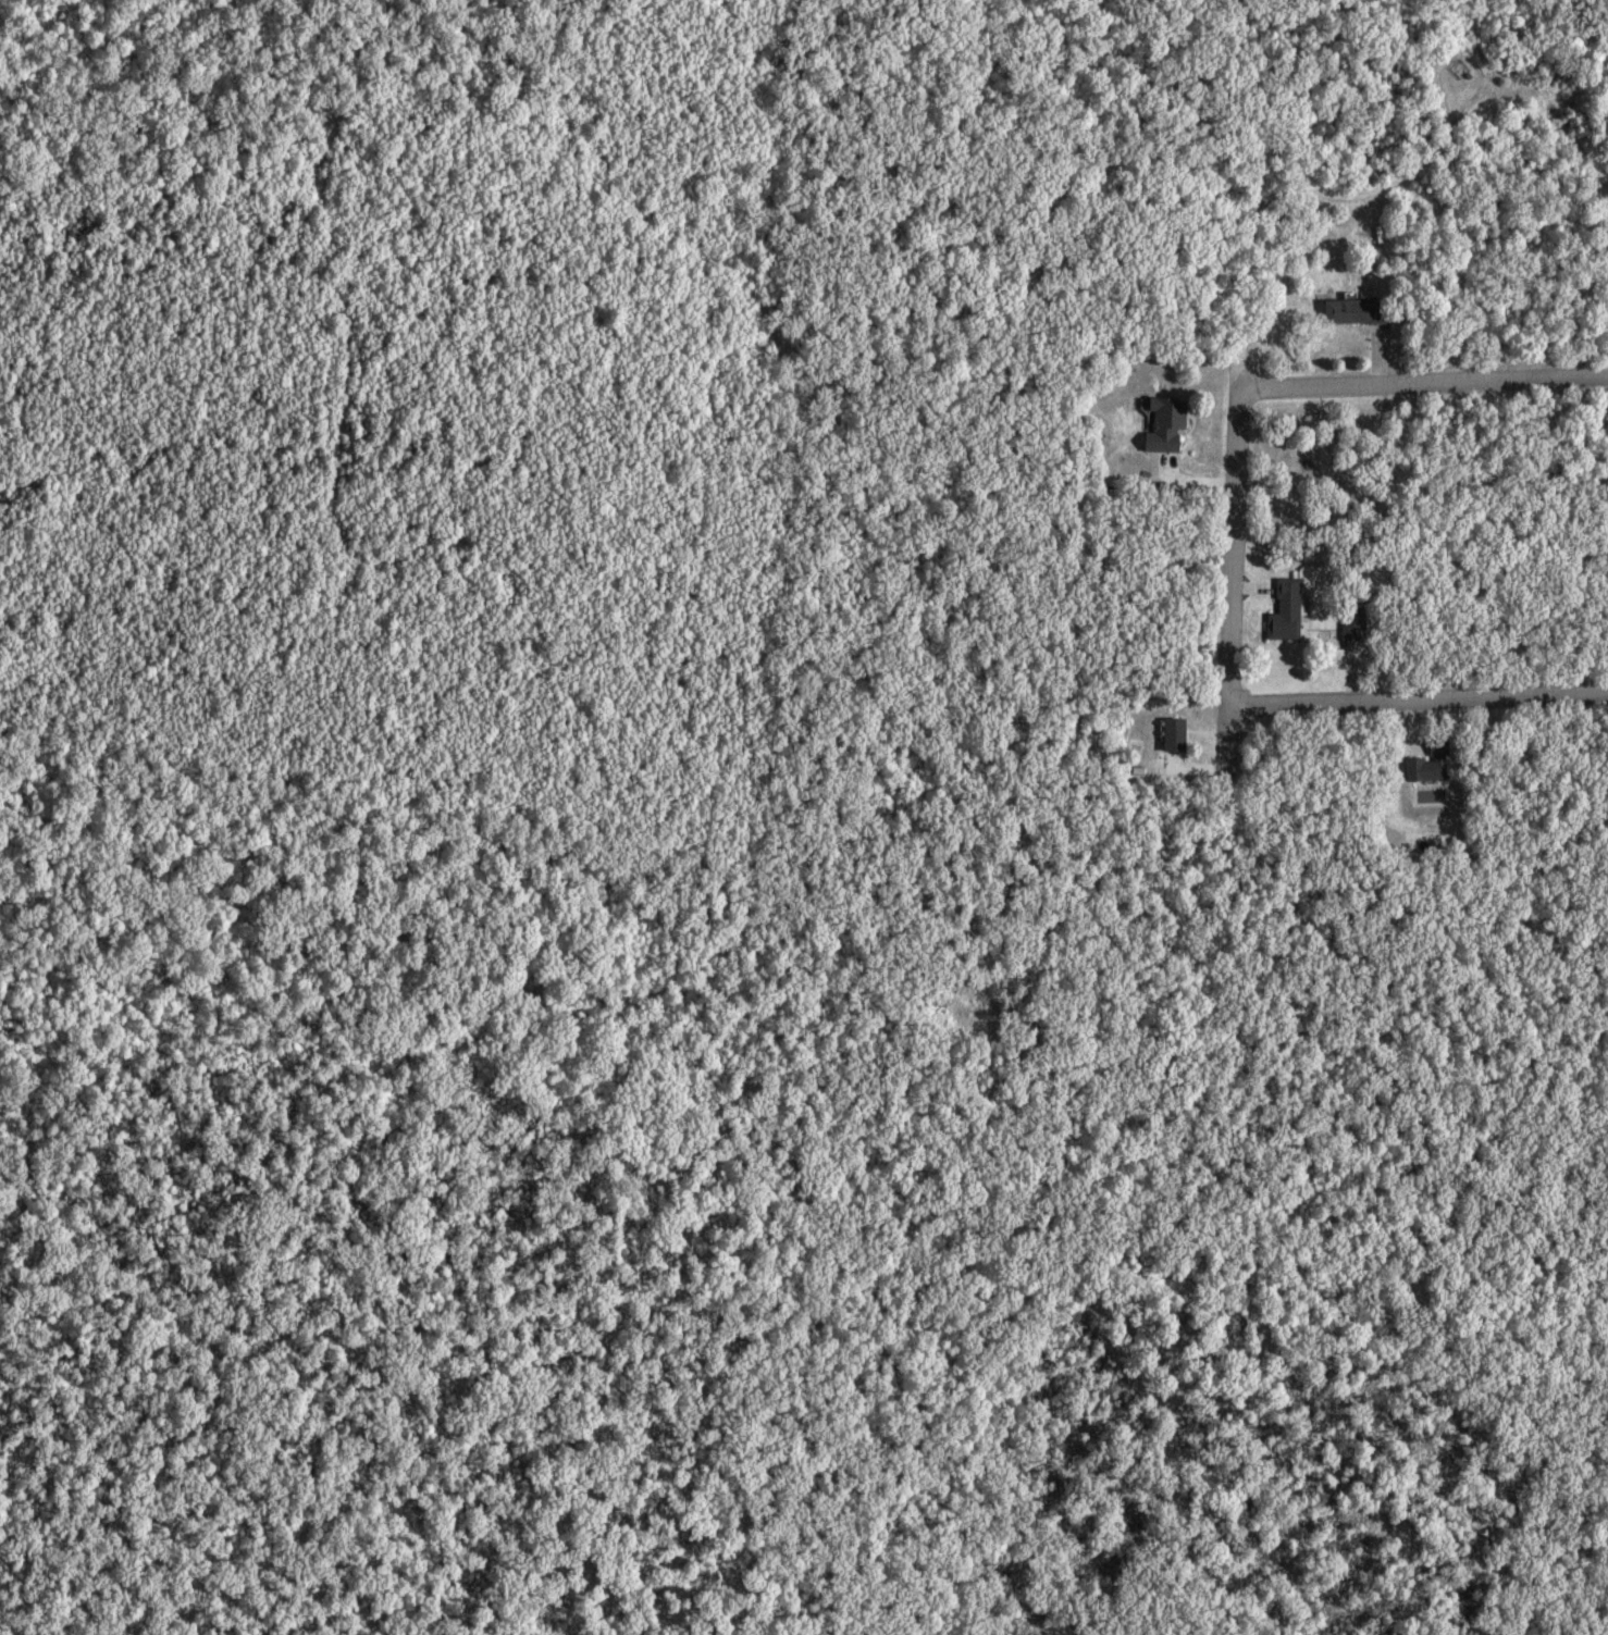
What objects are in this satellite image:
road: (1420, 383)
building: (1175, 423)
road: (1228, 597)
building: (1296, 608)
road: (1418, 705)
building: (1437, 771)

